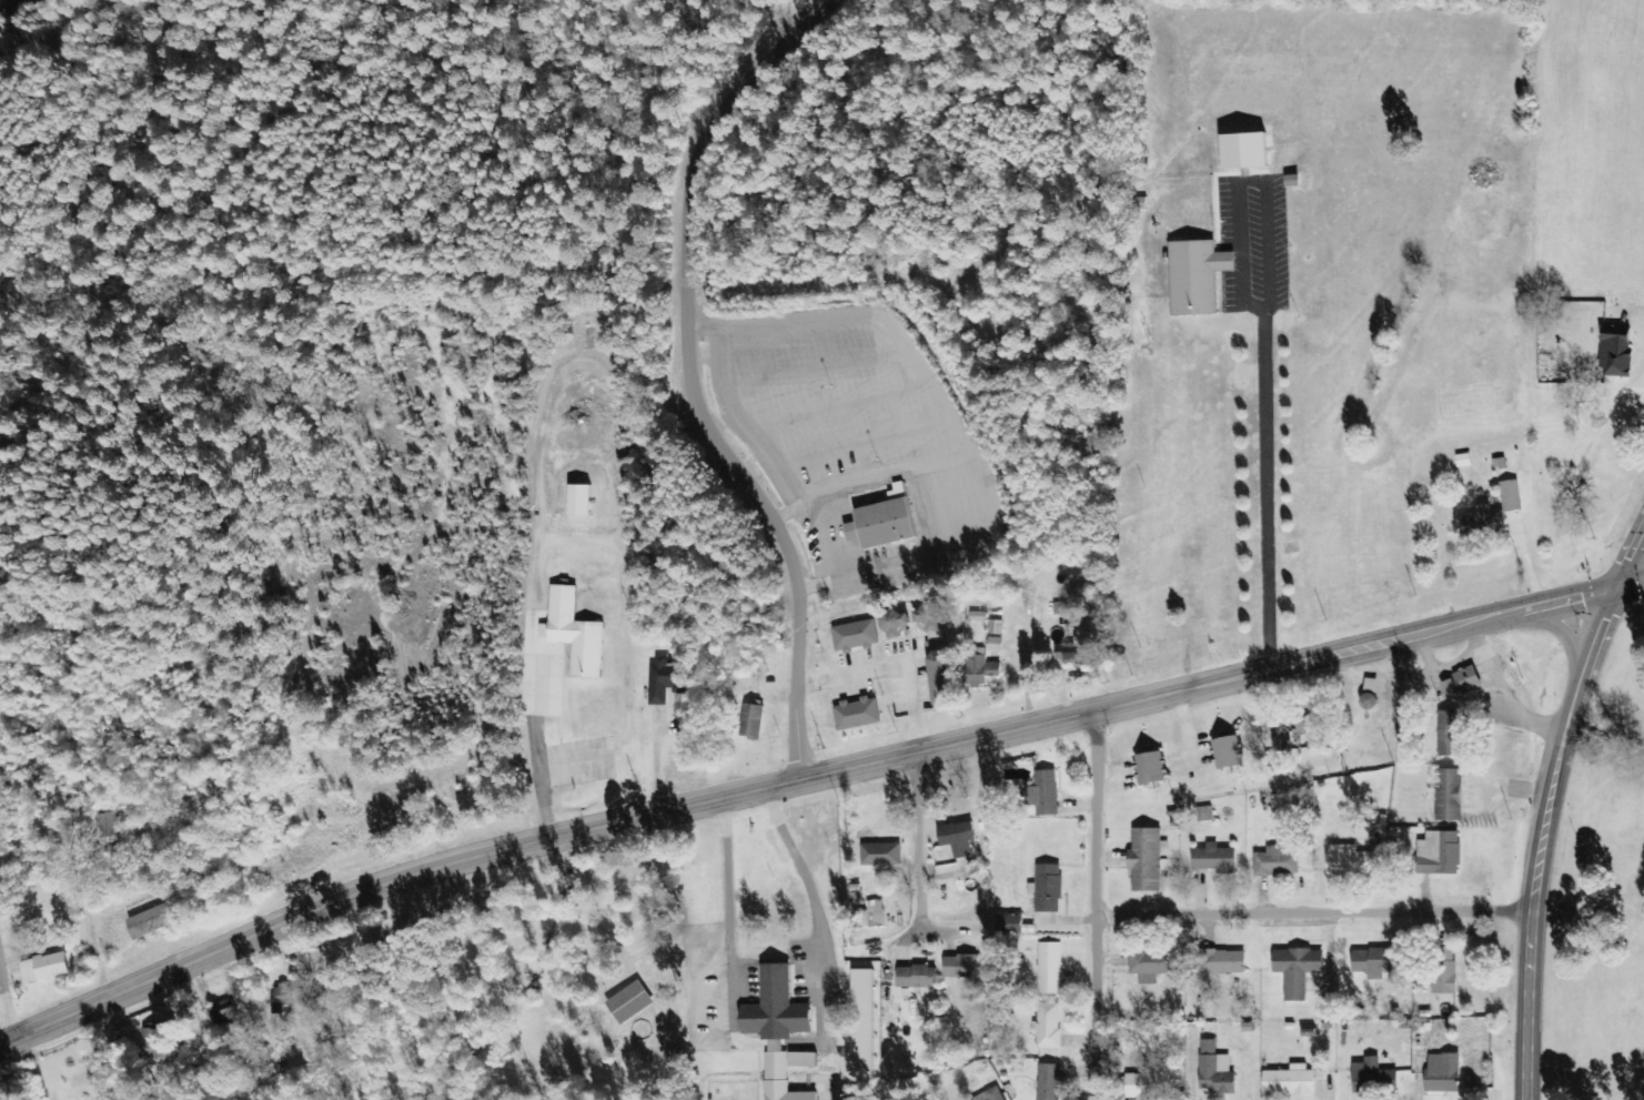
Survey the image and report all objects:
building: (1245, 152)
road: (1243, 181)
building: (1196, 277)
building: (1615, 352)
road: (690, 377)
building: (1464, 461)
road: (1265, 488)
building: (1511, 496)
building: (579, 501)
building: (882, 522)
building: (1482, 523)
road: (1631, 562)
traffic signals: (1618, 587)
building: (1062, 608)
building: (928, 616)
building: (978, 617)
building: (894, 625)
road: (1549, 625)
building: (995, 628)
building: (573, 634)
building: (854, 636)
building: (995, 645)
building: (1072, 654)
building: (981, 672)
building: (941, 680)
building: (665, 682)
building: (1460, 683)
building: (857, 715)
building: (752, 721)
road: (821, 728)
building: (1449, 734)
building: (1227, 754)
building: (1150, 769)
road: (810, 775)
building: (1043, 794)
building: (1448, 796)
building: (108, 826)
road: (38, 828)
road: (1542, 837)
building: (958, 839)
building: (881, 855)
building: (1439, 855)
building: (1213, 859)
building: (1146, 860)
building: (1350, 861)
building: (1275, 862)
building: (1048, 889)
road: (891, 898)
road: (1105, 905)
road: (1320, 907)
building: (871, 916)
road: (899, 917)
building: (150, 922)
building: (1012, 925)
building: (1222, 962)
building: (1374, 962)
road: (21, 965)
building: (1151, 967)
building: (43, 968)
building: (962, 968)
building: (1050, 969)
building: (1297, 971)
building: (1444, 971)
building: (916, 978)
building: (290, 998)
building: (628, 1003)
building: (775, 1008)
building: (223, 1012)
building: (863, 1021)
building: (1048, 1027)
building: (801, 1060)
building: (1214, 1070)
building: (1442, 1073)
building: (1372, 1078)
building: (780, 1079)
building: (1048, 1082)
building: (1289, 1082)
building: (1147, 1086)
building: (990, 1096)

